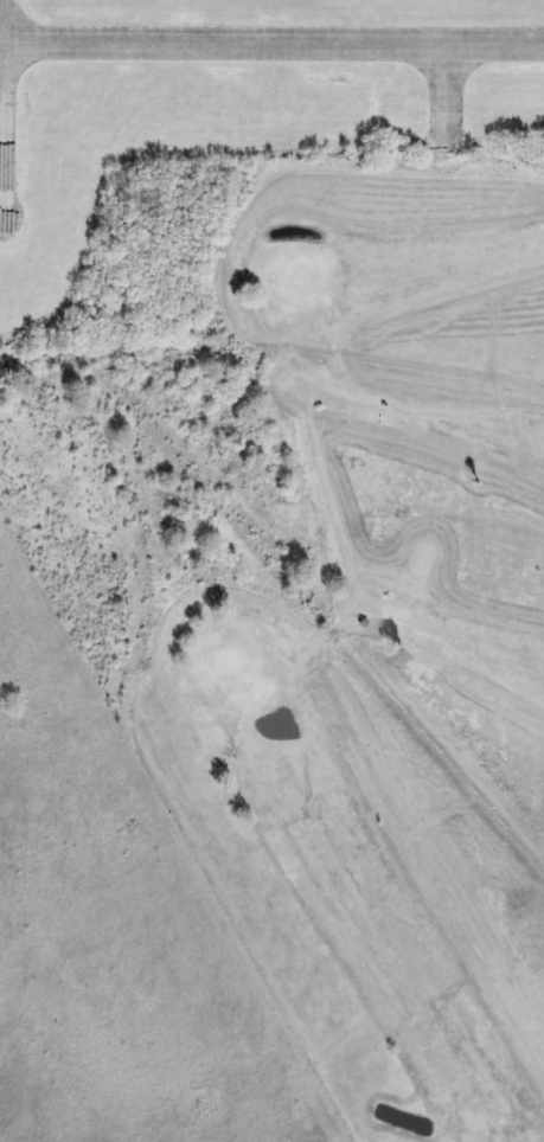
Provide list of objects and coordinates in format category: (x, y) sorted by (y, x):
airport taxiway: (249, 47)
airport: (222, 121)
road: (337, 354)
road: (293, 366)
park: (331, 605)
road: (425, 636)

